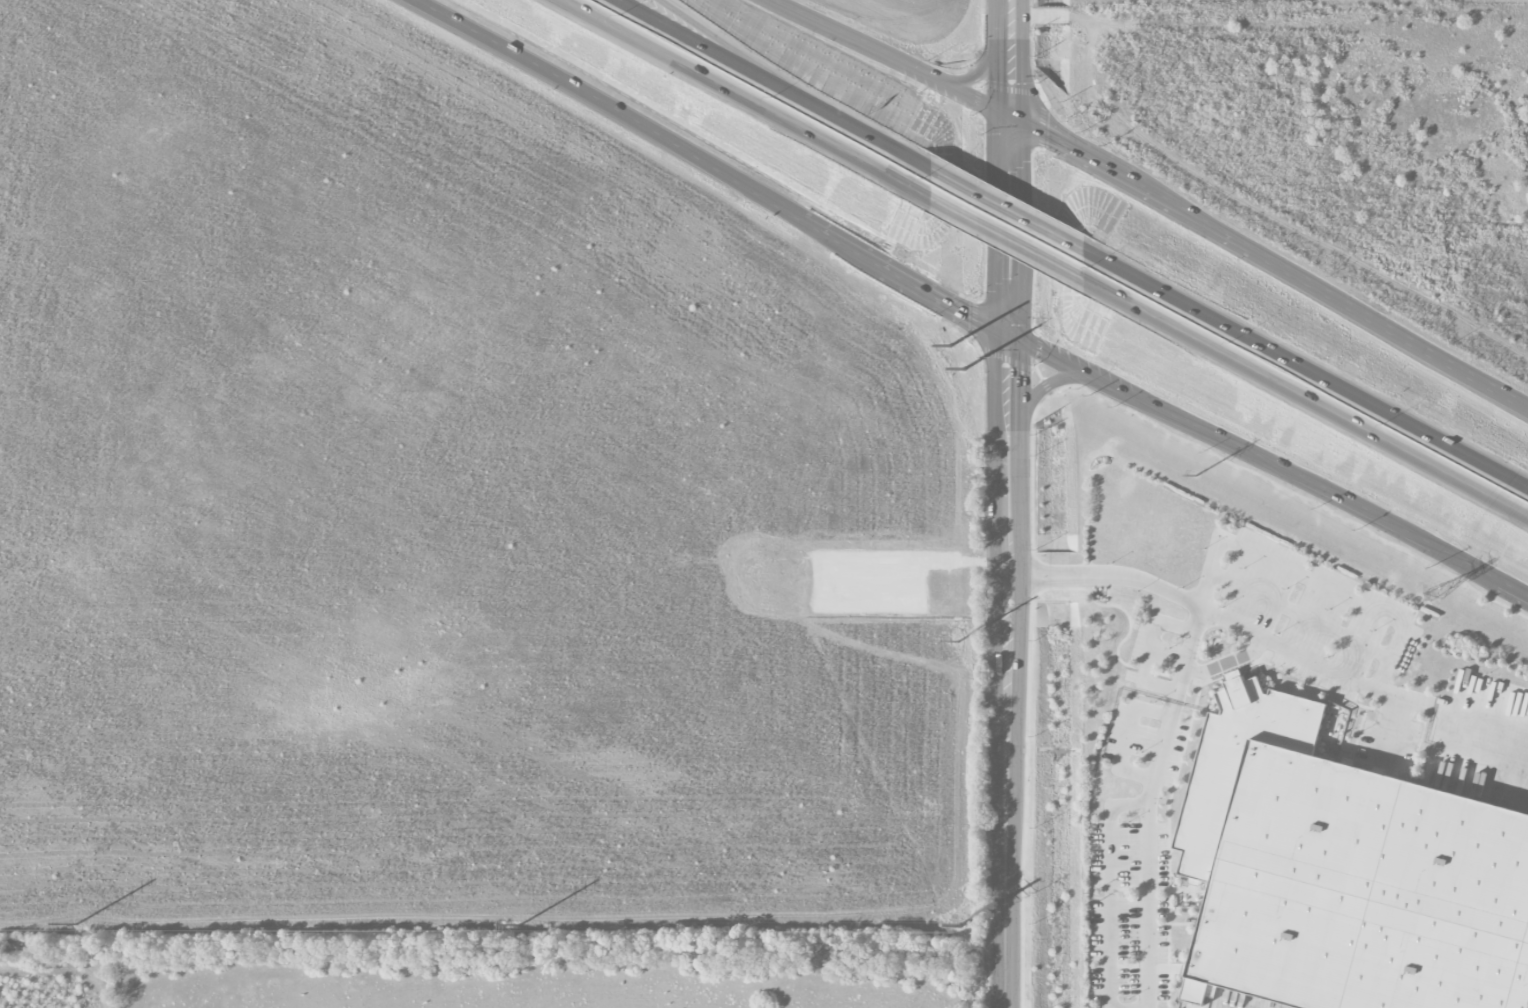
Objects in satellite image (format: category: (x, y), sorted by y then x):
road: (1048, 15)
road: (1019, 16)
road: (696, 41)
road: (713, 41)
road: (889, 58)
road: (1008, 60)
road: (745, 100)
traffic signals: (1009, 121)
road: (852, 125)
road: (712, 165)
road: (1007, 208)
road: (1263, 208)
road: (1009, 228)
road: (1008, 240)
road: (1269, 262)
traffic signals: (1010, 335)
power tower: (962, 369)
road: (1305, 369)
road: (1306, 400)
road: (1269, 465)
power tower: (1196, 477)
road: (1253, 553)
power tower: (1438, 594)
road: (1299, 613)
power tower: (958, 643)
road: (1284, 651)
road: (1185, 656)
road: (1008, 671)
road: (1480, 722)
road: (1145, 853)
building: (1345, 873)
road: (1109, 889)
power tower: (76, 927)
power tower: (520, 929)
power tower: (961, 929)

